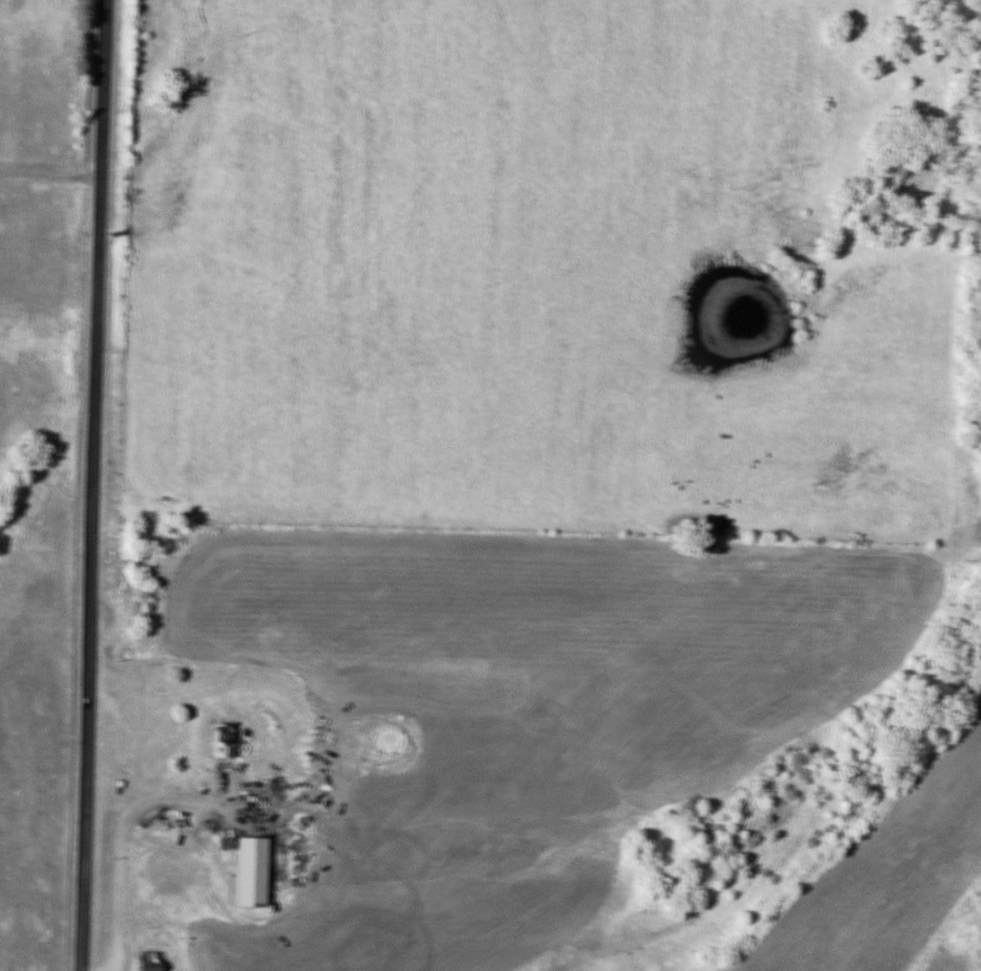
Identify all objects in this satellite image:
road: (93, 485)
building: (220, 740)
road: (126, 838)
building: (145, 960)

